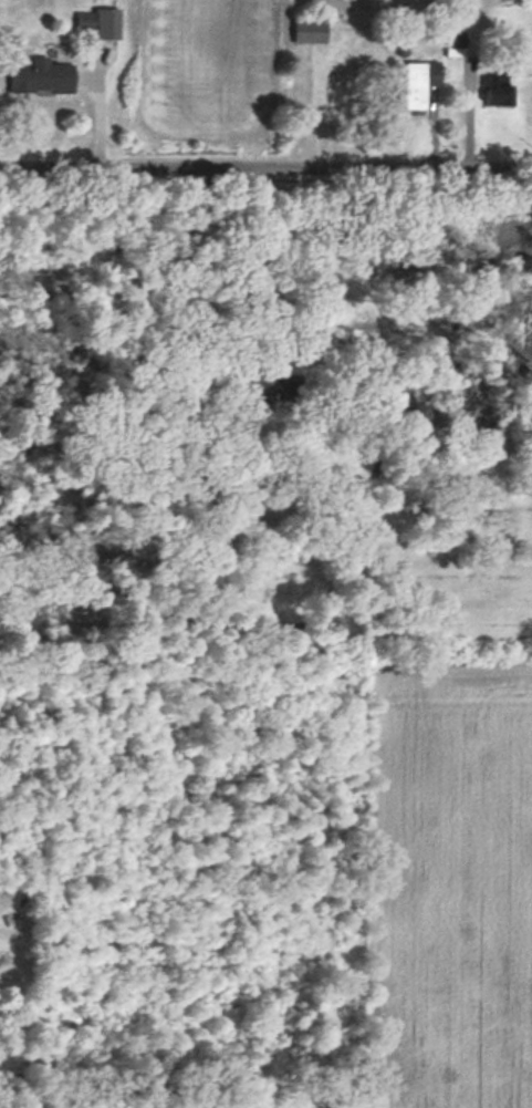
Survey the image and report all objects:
building: (98, 23)
building: (310, 31)
building: (453, 49)
building: (41, 79)
building: (419, 84)
building: (498, 91)
road: (265, 169)
road: (188, 333)
building: (259, 387)

